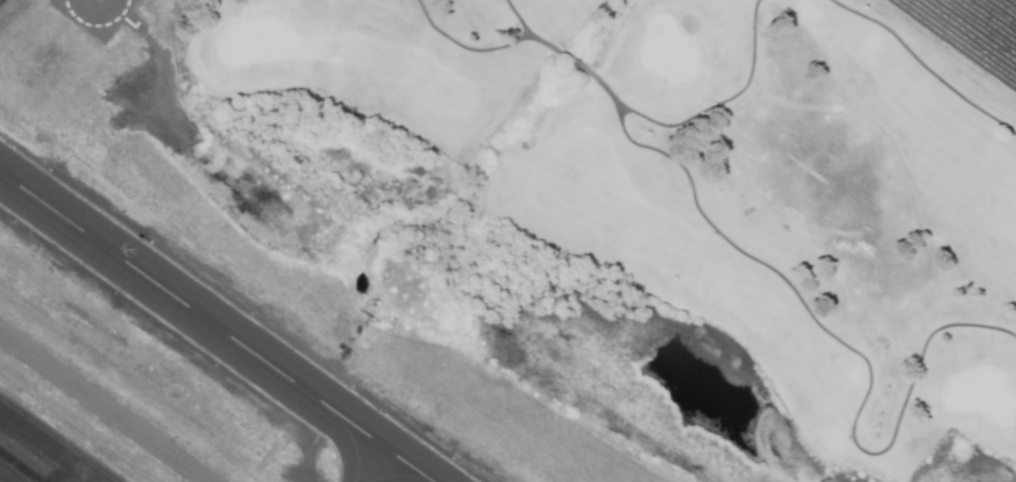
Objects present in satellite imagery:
park: (645, 212)
airport: (207, 327)
airport runway: (211, 329)
airport taxiway: (109, 404)
airport taxiway: (378, 469)

